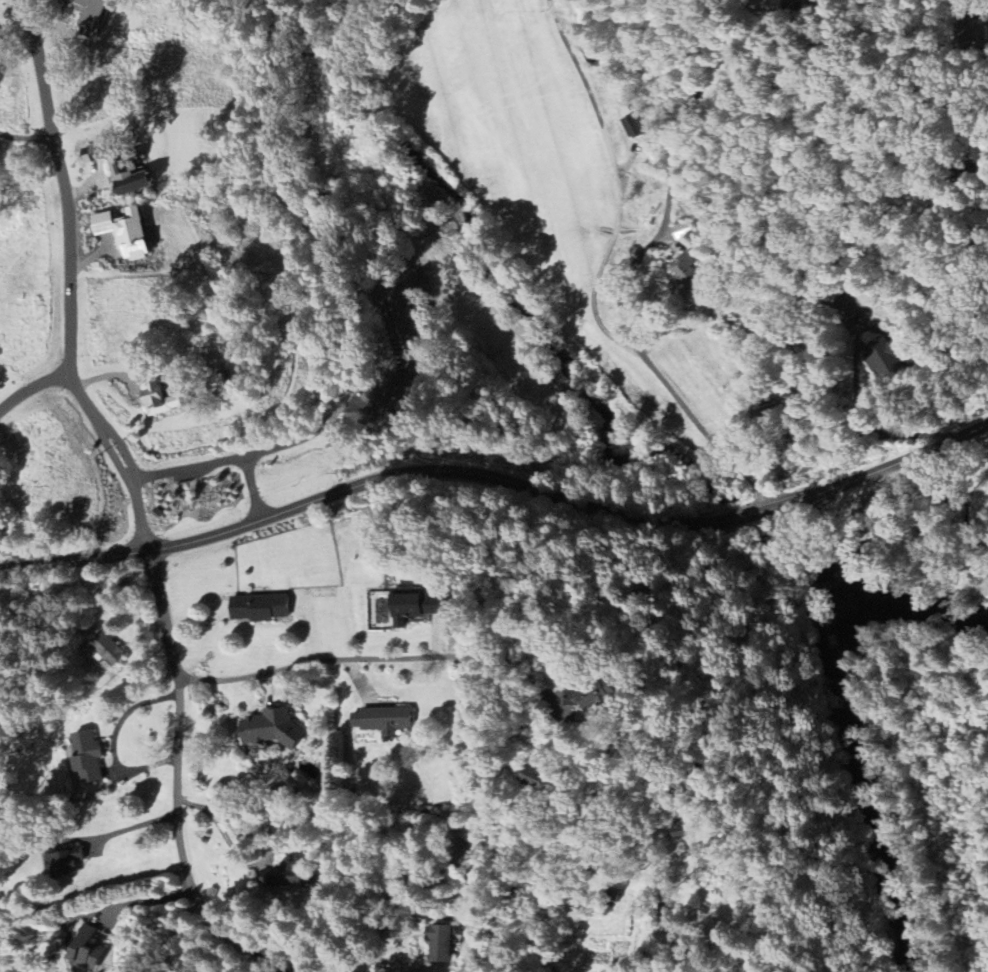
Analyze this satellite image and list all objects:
building: (97, 16)
road: (585, 88)
building: (633, 125)
road: (26, 136)
building: (124, 169)
road: (671, 180)
road: (66, 222)
building: (131, 231)
building: (685, 272)
building: (849, 308)
road: (636, 354)
building: (884, 357)
road: (34, 393)
building: (168, 400)
road: (116, 451)
road: (498, 479)
road: (134, 504)
road: (922, 540)
building: (264, 606)
building: (413, 607)
building: (440, 634)
building: (110, 650)
road: (362, 655)
road: (516, 659)
road: (1, 679)
river: (835, 692)
building: (594, 694)
building: (386, 719)
building: (274, 728)
road: (110, 741)
building: (91, 755)
road: (176, 798)
road: (124, 828)
road: (268, 842)
building: (67, 861)
building: (291, 875)
road: (143, 899)
building: (90, 951)

